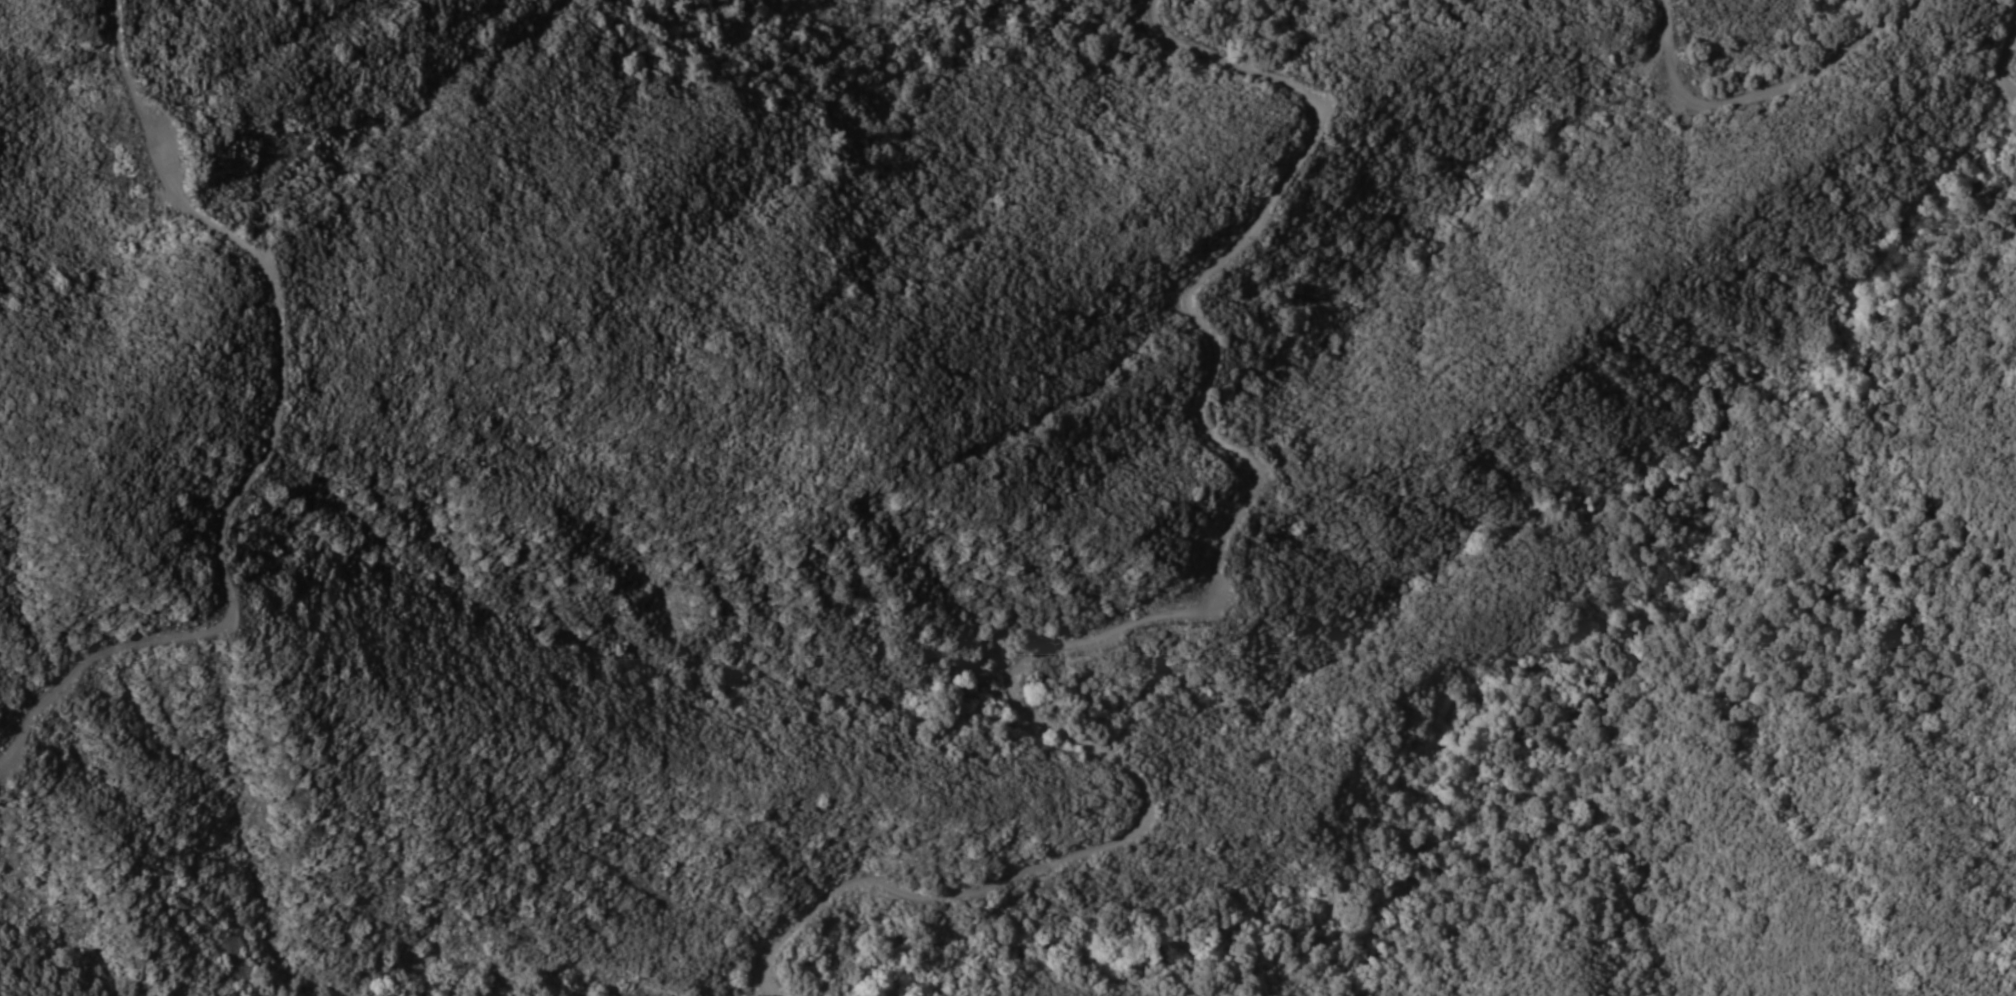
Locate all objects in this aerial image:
road: (2004, 61)
road: (1762, 92)
road: (2014, 95)
road: (1997, 112)
road: (1773, 180)
road: (1264, 207)
road: (272, 429)
road: (1132, 772)

